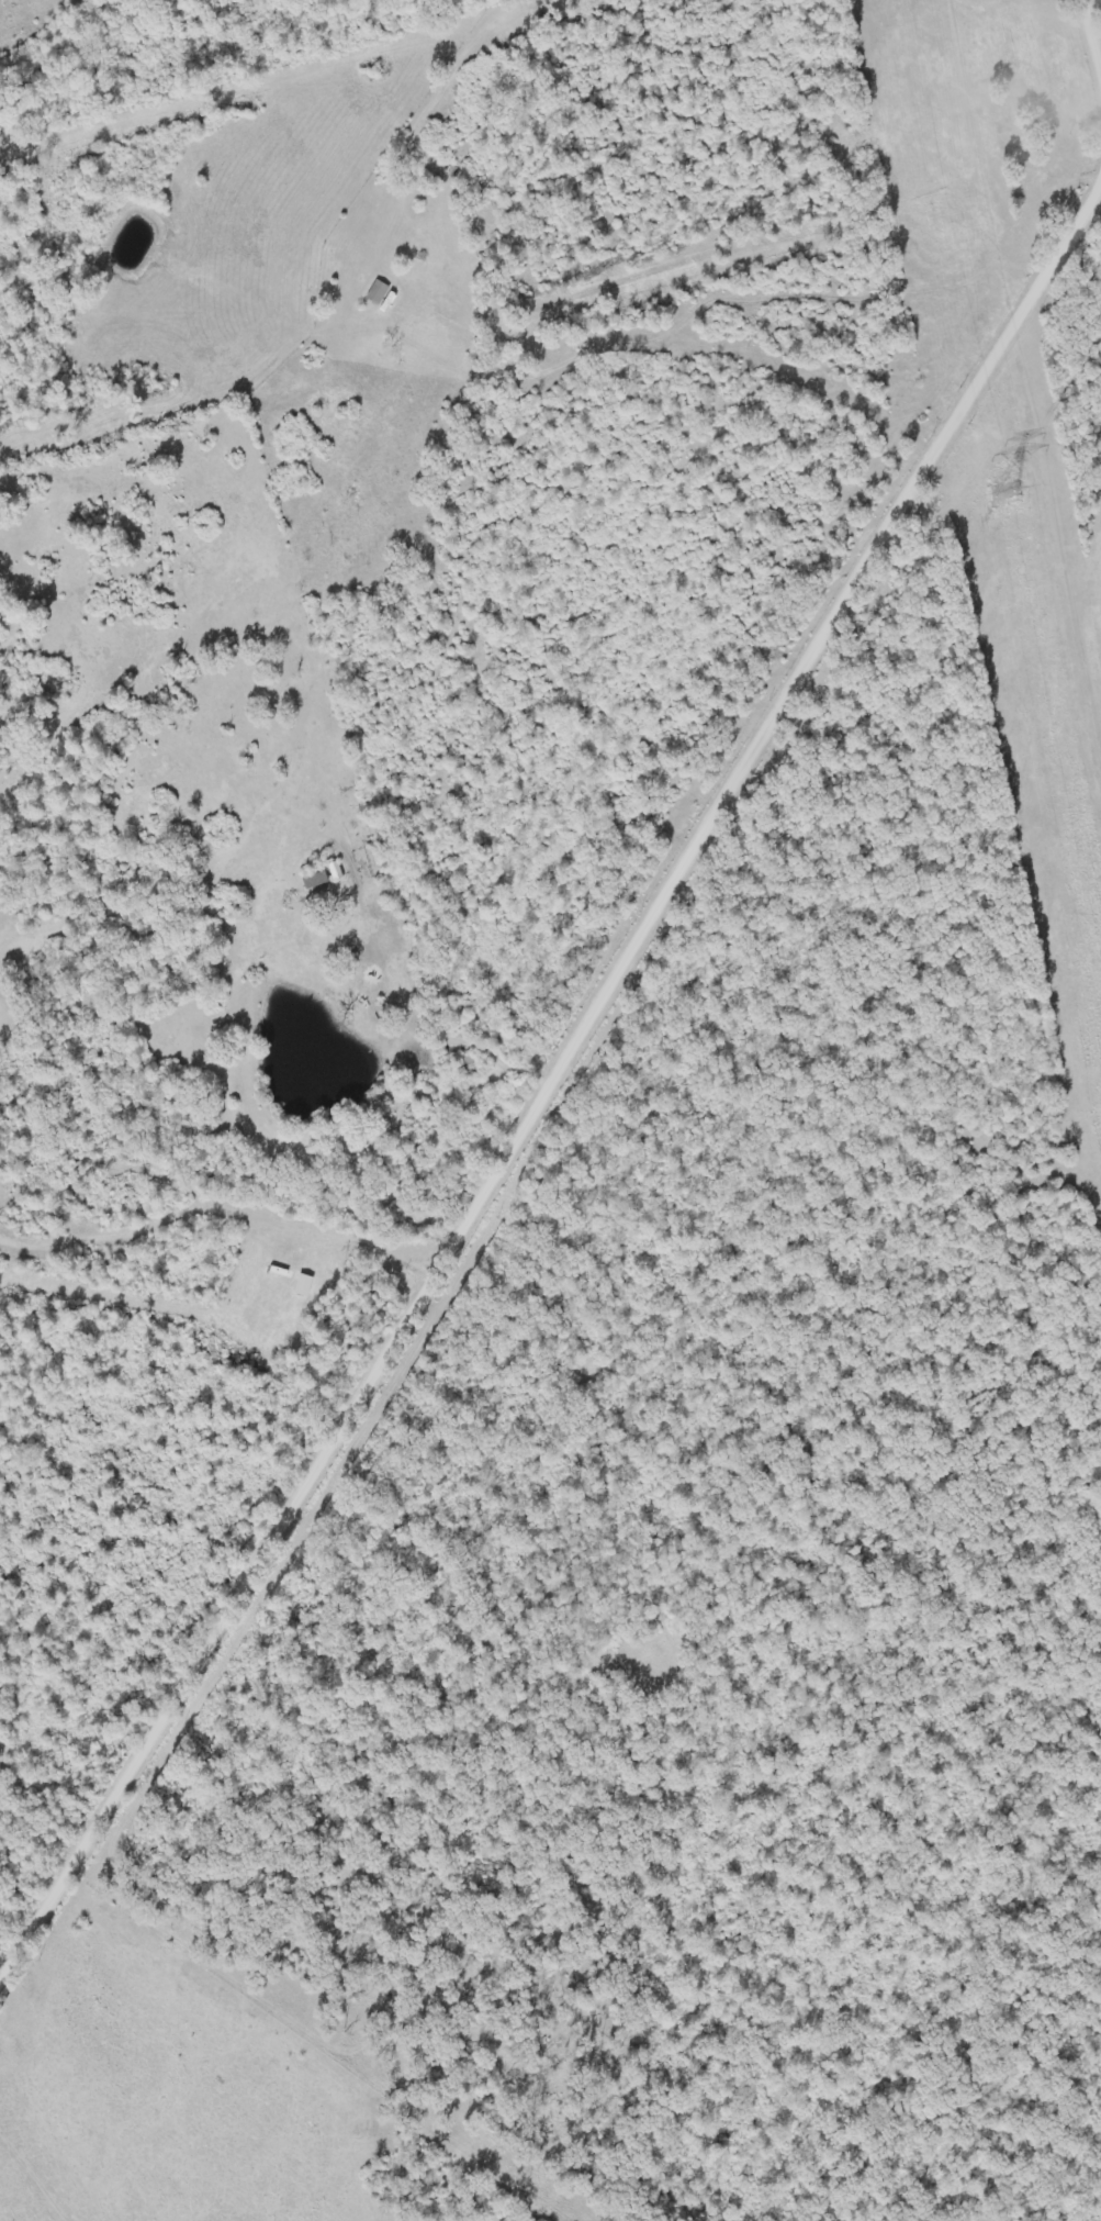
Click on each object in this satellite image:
road: (1096, 10)
building: (378, 293)
power tower: (1005, 490)
road: (555, 1061)

